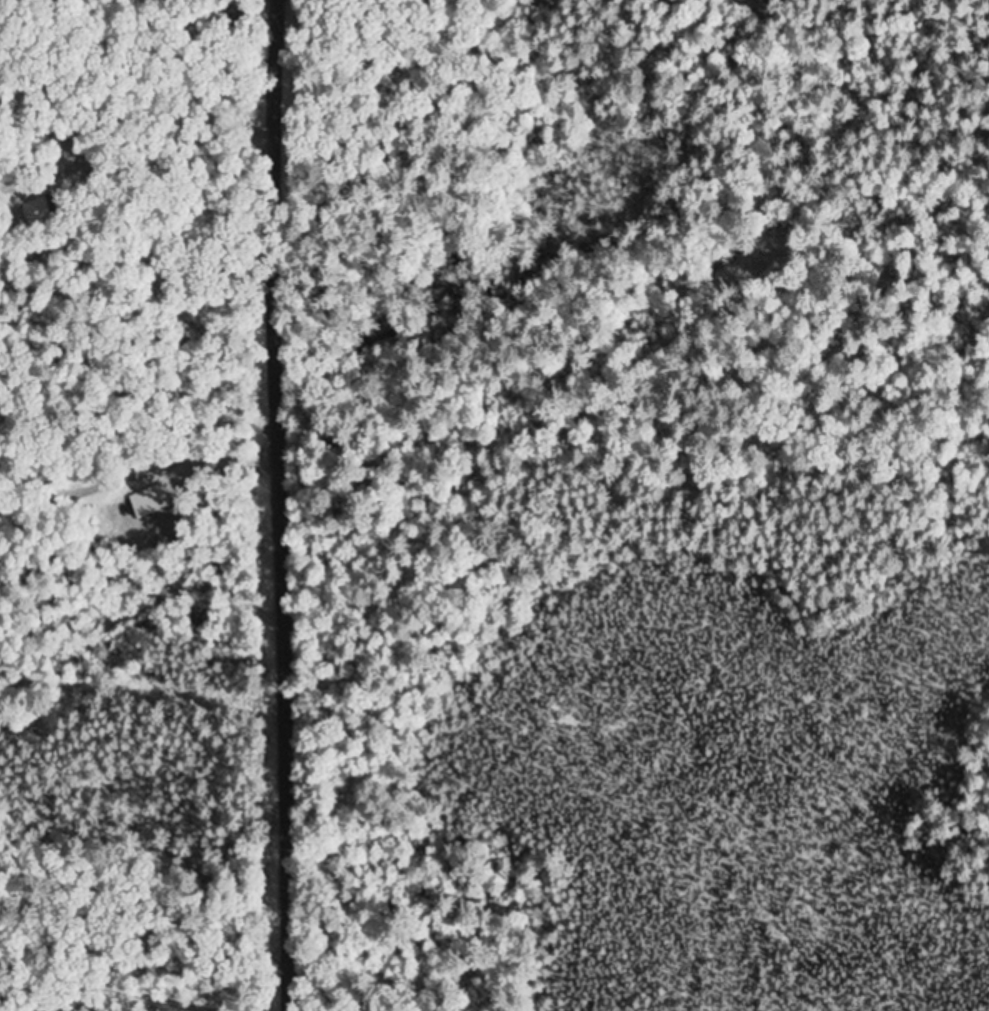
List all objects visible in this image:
road: (165, 82)
building: (46, 210)
road: (140, 403)
road: (281, 505)
road: (141, 613)
road: (145, 698)
road: (143, 956)

